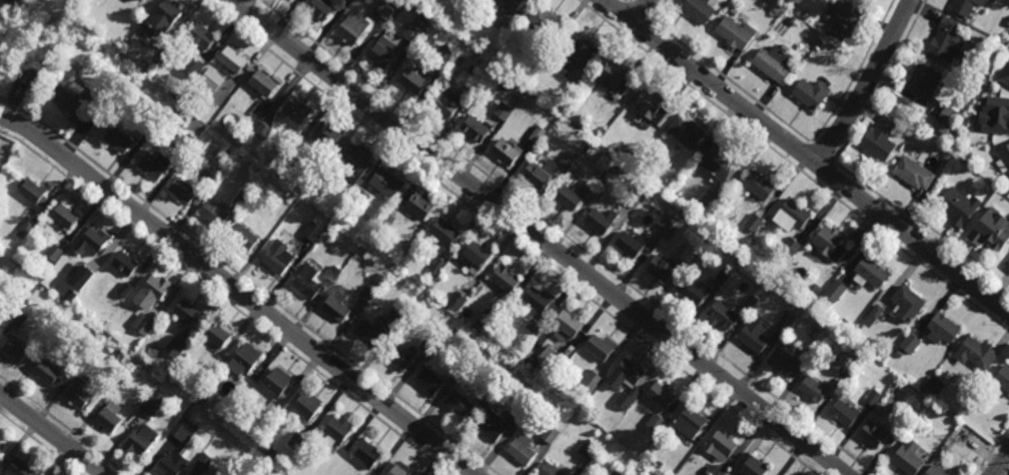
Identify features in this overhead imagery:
building: (144, 0)
building: (291, 0)
building: (138, 1)
building: (350, 1)
road: (627, 1)
road: (629, 1)
building: (511, 3)
building: (965, 7)
building: (317, 9)
road: (637, 9)
road: (660, 10)
building: (698, 10)
building: (384, 11)
road: (640, 11)
building: (732, 11)
road: (619, 13)
building: (805, 15)
building: (0, 17)
building: (162, 17)
building: (466, 21)
building: (843, 21)
building: (542, 22)
building: (1008, 23)
building: (351, 29)
road: (643, 31)
building: (413, 33)
building: (735, 34)
building: (199, 37)
building: (51, 41)
building: (949, 41)
building: (574, 51)
building: (382, 54)
building: (499, 54)
building: (446, 55)
building: (231, 60)
building: (772, 64)
building: (193, 68)
road: (856, 73)
building: (1004, 75)
building: (614, 77)
building: (982, 79)
building: (212, 80)
building: (413, 81)
road: (731, 81)
road: (883, 82)
building: (922, 82)
building: (260, 84)
road: (868, 84)
building: (468, 94)
building: (809, 94)
building: (87, 95)
building: (68, 102)
building: (651, 106)
building: (443, 107)
building: (295, 111)
building: (176, 112)
building: (504, 112)
building: (210, 116)
building: (949, 117)
building: (995, 118)
building: (150, 127)
building: (941, 128)
building: (262, 131)
building: (472, 131)
building: (685, 132)
building: (326, 134)
building: (538, 136)
building: (879, 139)
building: (184, 140)
building: (116, 142)
building: (547, 148)
building: (621, 148)
road: (820, 151)
building: (505, 153)
road: (802, 155)
road: (807, 155)
building: (291, 157)
building: (1005, 158)
building: (689, 159)
building: (567, 160)
building: (719, 162)
building: (353, 163)
building: (643, 163)
road: (793, 166)
building: (154, 167)
road: (824, 171)
building: (913, 171)
building: (534, 176)
building: (208, 180)
building: (321, 181)
building: (386, 183)
building: (759, 186)
building: (182, 190)
building: (280, 193)
building: (30, 194)
building: (360, 196)
building: (241, 197)
building: (634, 197)
building: (565, 198)
building: (731, 201)
building: (704, 203)
building: (419, 208)
building: (958, 208)
building: (213, 215)
building: (791, 215)
building: (63, 218)
building: (600, 220)
building: (386, 221)
building: (753, 221)
road: (920, 223)
building: (21, 227)
building: (313, 230)
building: (443, 231)
building: (991, 231)
road: (508, 237)
road: (539, 237)
road: (566, 237)
building: (243, 238)
building: (91, 243)
building: (829, 243)
building: (629, 245)
building: (790, 245)
building: (52, 252)
building: (475, 254)
building: (689, 254)
building: (275, 257)
building: (126, 264)
building: (437, 265)
building: (1008, 266)
building: (659, 269)
building: (334, 272)
building: (869, 272)
building: (80, 276)
building: (720, 277)
building: (503, 279)
building: (306, 283)
road: (250, 284)
building: (125, 289)
building: (690, 291)
building: (152, 293)
road: (237, 293)
building: (832, 293)
building: (364, 294)
building: (69, 295)
building: (116, 298)
building: (537, 300)
building: (456, 301)
building: (750, 301)
road: (226, 302)
building: (336, 304)
building: (906, 304)
building: (397, 310)
building: (876, 311)
building: (184, 313)
building: (720, 315)
building: (18, 318)
building: (785, 321)
building: (142, 322)
building: (486, 322)
building: (843, 322)
building: (567, 324)
building: (536, 327)
building: (941, 329)
building: (151, 334)
building: (216, 334)
building: (367, 334)
building: (139, 335)
building: (753, 335)
building: (431, 336)
building: (52, 338)
building: (910, 342)
building: (174, 347)
building: (598, 347)
building: (812, 349)
building: (12, 350)
building: (119, 353)
building: (975, 353)
building: (182, 356)
building: (396, 359)
building: (552, 360)
building: (841, 361)
building: (244, 362)
building: (783, 363)
building: (133, 364)
building: (45, 373)
building: (622, 374)
building: (1002, 378)
building: (591, 380)
building: (428, 383)
building: (274, 385)
building: (935, 385)
building: (813, 389)
building: (487, 393)
building: (661, 395)
building: (873, 397)
building: (75, 398)
building: (201, 399)
building: (627, 399)
building: (151, 402)
building: (456, 405)
building: (307, 407)
building: (843, 413)
building: (265, 417)
building: (516, 417)
building: (107, 422)
building: (576, 422)
building: (654, 422)
building: (688, 423)
road: (62, 426)
building: (488, 426)
building: (183, 429)
building: (278, 430)
building: (337, 431)
road: (52, 434)
building: (549, 434)
building: (872, 435)
building: (945, 437)
building: (144, 440)
building: (297, 441)
road: (39, 444)
building: (1, 446)
building: (719, 446)
building: (588, 448)
building: (521, 449)
road: (990, 450)
building: (270, 451)
building: (308, 454)
building: (366, 456)
building: (966, 456)
building: (905, 457)
building: (203, 461)
building: (658, 464)
road: (1001, 464)
building: (166, 467)
building: (752, 467)
building: (20, 468)
building: (546, 470)
building: (618, 471)
building: (933, 471)
building: (395, 472)
building: (236, 474)
building: (357, 474)
building: (358, 474)
building: (694, 474)
building: (696, 474)
road: (1008, 474)

